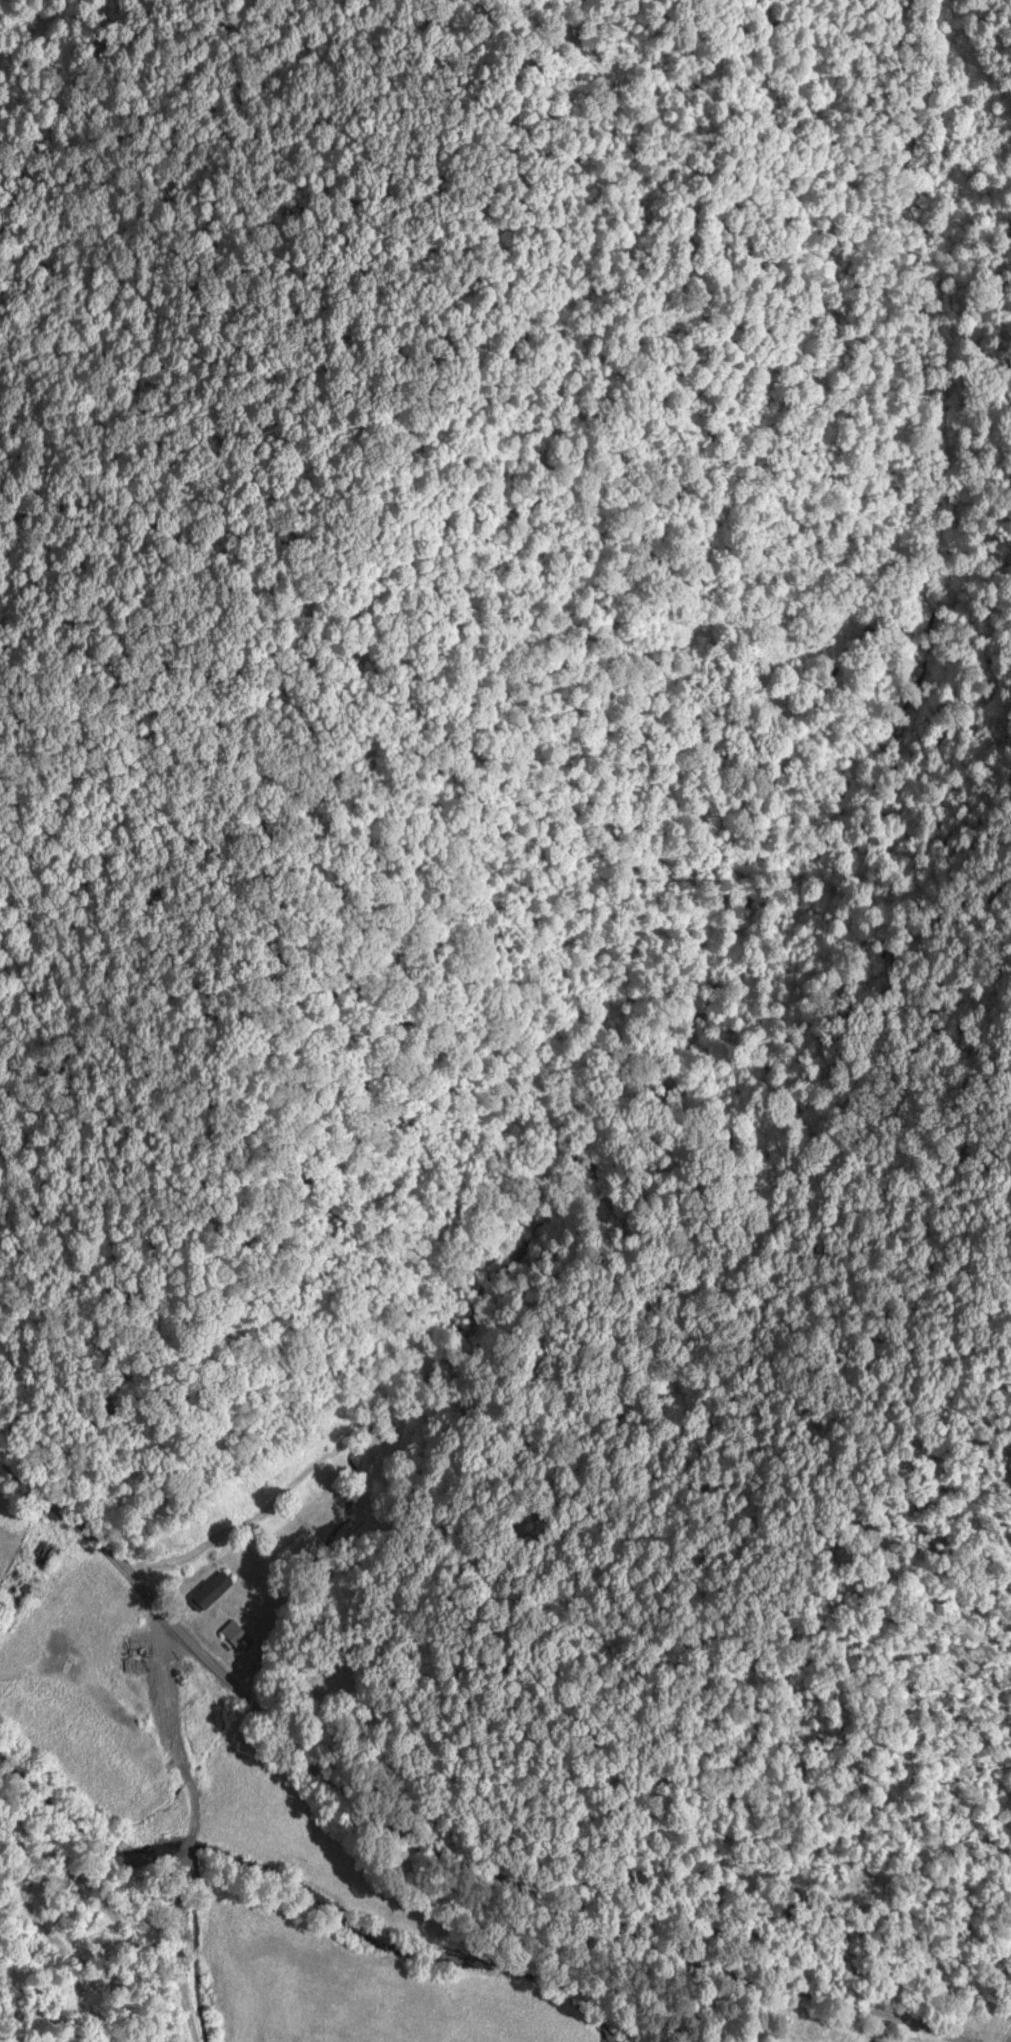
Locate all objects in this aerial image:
road: (276, 1502)
road: (65, 1507)
building: (216, 1590)
building: (242, 1634)
road: (506, 1883)
building: (886, 2040)

